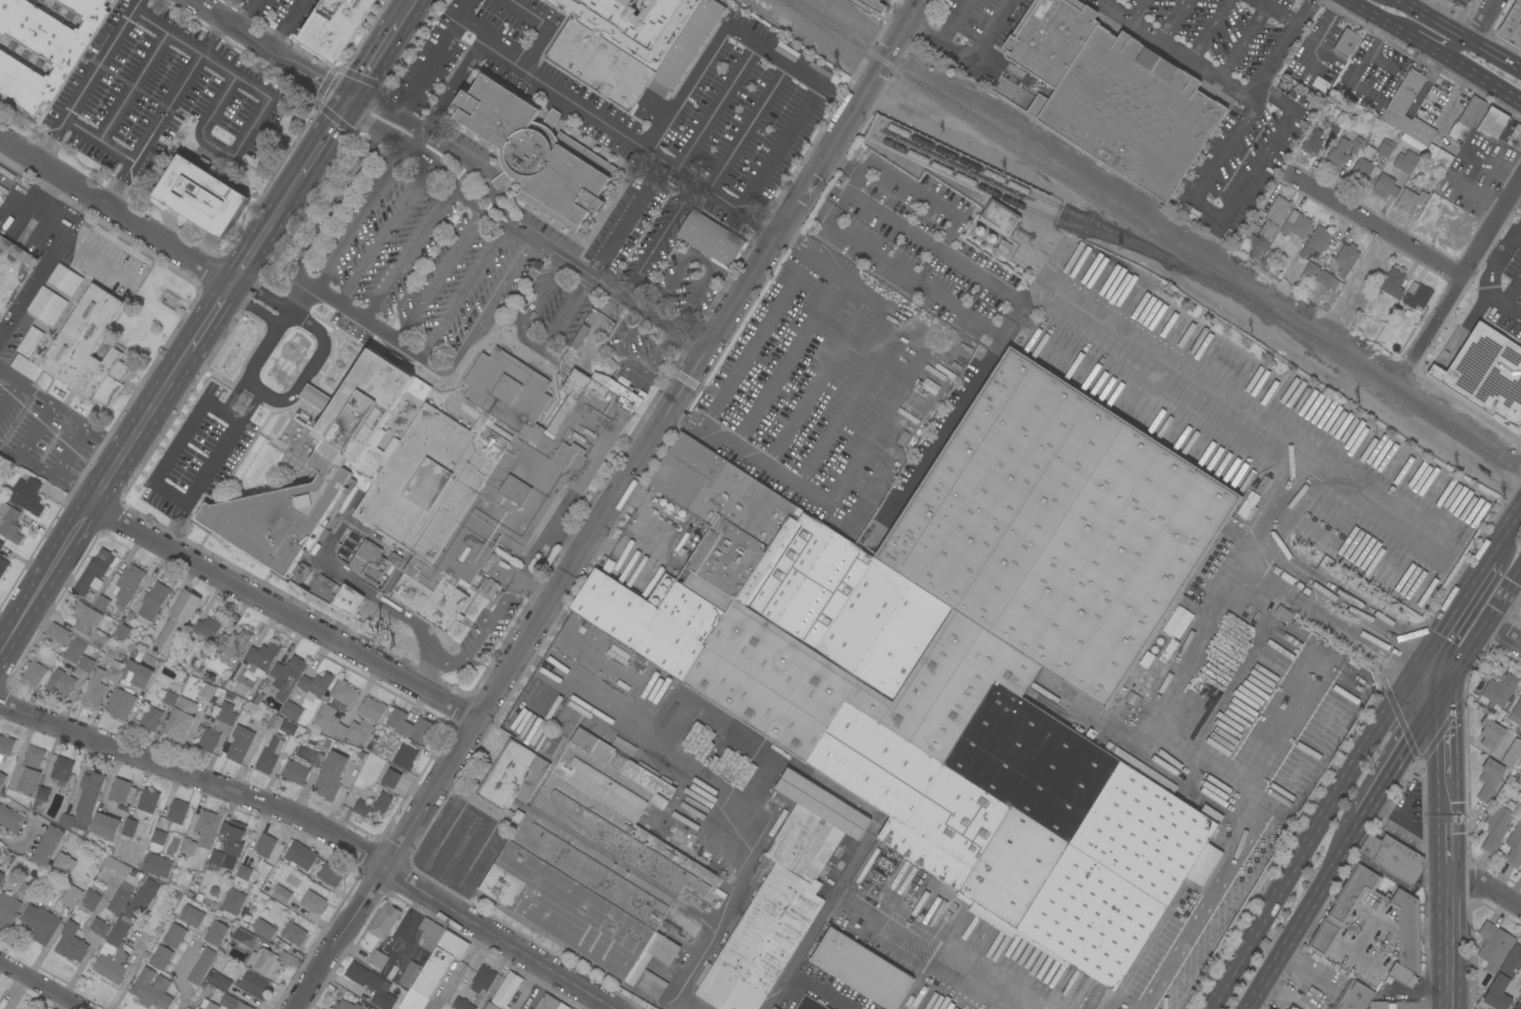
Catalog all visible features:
building: (55, 0)
road: (1404, 1)
building: (874, 5)
road: (231, 8)
road: (1135, 8)
road: (1280, 10)
road: (1440, 10)
road: (408, 12)
road: (251, 13)
road: (463, 15)
road: (1169, 17)
road: (1370, 19)
road: (1478, 19)
road: (953, 20)
road: (289, 24)
building: (635, 24)
road: (170, 25)
building: (337, 26)
building: (1512, 26)
road: (545, 27)
road: (1206, 27)
road: (1424, 31)
road: (1460, 34)
road: (1242, 37)
building: (1346, 43)
road: (1282, 45)
road: (1177, 46)
building: (44, 48)
road: (276, 49)
road: (1426, 52)
road: (773, 54)
building: (631, 58)
road: (379, 59)
road: (971, 60)
road: (427, 74)
road: (86, 79)
road: (134, 84)
building: (1321, 84)
road: (1485, 86)
road: (449, 89)
road: (266, 90)
building: (1114, 95)
road: (356, 96)
building: (1402, 102)
road: (379, 106)
road: (715, 106)
road: (349, 107)
road: (165, 110)
building: (1472, 112)
road: (212, 116)
building: (1493, 123)
road: (363, 125)
road: (748, 128)
building: (1333, 130)
building: (1420, 131)
building: (1458, 131)
road: (615, 132)
building: (1512, 135)
road: (414, 140)
road: (95, 142)
building: (1312, 142)
road: (439, 143)
building: (1413, 143)
road: (324, 146)
building: (1355, 146)
building: (1385, 148)
building: (536, 153)
building: (1337, 155)
road: (423, 158)
building: (1444, 158)
building: (1406, 162)
road: (477, 166)
building: (1364, 171)
building: (1386, 187)
building: (202, 196)
building: (1, 197)
road: (1517, 197)
road: (841, 198)
building: (1411, 198)
railway: (1012, 201)
road: (637, 203)
road: (286, 205)
road: (500, 210)
road: (1228, 210)
road: (117, 212)
road: (329, 212)
railway: (1079, 215)
road: (492, 216)
building: (1000, 218)
road: (361, 219)
road: (957, 220)
building: (1269, 220)
building: (1297, 224)
road: (1375, 227)
road: (385, 235)
railway: (1156, 237)
building: (711, 238)
road: (658, 239)
road: (1507, 240)
building: (1317, 241)
road: (57, 246)
road: (407, 254)
building: (1346, 255)
road: (599, 258)
road: (250, 259)
road: (98, 260)
building: (1311, 269)
building: (13, 272)
road: (1465, 273)
road: (437, 276)
building: (65, 279)
building: (1327, 279)
road: (907, 280)
road: (986, 281)
building: (1393, 283)
road: (1491, 285)
road: (609, 286)
road: (462, 289)
road: (1511, 289)
building: (1417, 296)
road: (298, 298)
building: (48, 306)
road: (530, 306)
road: (565, 310)
road: (213, 316)
road: (281, 320)
road: (274, 329)
road: (3, 331)
road: (3, 338)
road: (753, 339)
building: (30, 341)
road: (323, 347)
building: (84, 349)
road: (785, 360)
road: (608, 363)
road: (446, 371)
building: (1487, 374)
road: (817, 381)
road: (163, 394)
road: (8, 395)
road: (234, 396)
road: (1220, 402)
road: (847, 403)
road: (62, 412)
road: (880, 417)
road: (944, 428)
road: (914, 429)
road: (22, 449)
road: (69, 452)
road: (8, 453)
road: (110, 475)
building: (430, 476)
building: (1263, 484)
road: (75, 488)
building: (27, 495)
road: (171, 496)
road: (1376, 501)
road: (608, 505)
building: (1247, 505)
road: (1510, 520)
building: (10, 523)
building: (1059, 527)
road: (543, 539)
road: (565, 539)
building: (1, 545)
building: (396, 561)
building: (370, 565)
building: (3, 566)
building: (94, 574)
road: (44, 580)
building: (128, 583)
road: (536, 589)
road: (367, 592)
road: (1503, 592)
road: (1323, 593)
building: (336, 596)
road: (1461, 598)
building: (153, 601)
building: (102, 603)
road: (282, 614)
building: (85, 617)
building: (178, 620)
building: (208, 626)
building: (122, 631)
road: (483, 631)
road: (1503, 631)
building: (58, 634)
building: (98, 639)
building: (233, 644)
building: (75, 650)
road: (1461, 657)
building: (261, 658)
traffic signals: (1423, 659)
building: (86, 664)
building: (114, 673)
building: (137, 674)
building: (850, 674)
building: (35, 675)
building: (288, 676)
road: (1430, 677)
building: (61, 683)
building: (315, 686)
road: (363, 689)
building: (94, 690)
building: (206, 691)
building: (1499, 691)
building: (344, 693)
traffic signals: (1438, 695)
building: (256, 697)
building: (170, 698)
building: (121, 704)
road: (609, 704)
building: (372, 709)
building: (292, 711)
building: (1516, 714)
building: (151, 718)
building: (180, 720)
building: (275, 721)
building: (343, 726)
building: (410, 726)
building: (217, 727)
building: (288, 728)
building: (1491, 734)
building: (238, 744)
building: (6, 746)
building: (1512, 754)
building: (270, 755)
building: (405, 756)
road: (1399, 756)
road: (1441, 756)
building: (1520, 761)
building: (62, 769)
building: (31, 770)
building: (295, 773)
road: (1223, 773)
building: (330, 776)
building: (2, 779)
building: (391, 779)
building: (1491, 780)
building: (119, 790)
building: (41, 797)
road: (469, 797)
building: (148, 801)
building: (85, 802)
building: (373, 805)
building: (177, 811)
building: (10, 819)
building: (1498, 825)
building: (105, 826)
building: (129, 827)
building: (203, 827)
road: (323, 828)
road: (1313, 832)
building: (159, 837)
road: (441, 839)
road: (1444, 839)
road: (20, 842)
building: (229, 845)
building: (265, 845)
building: (48, 846)
building: (188, 847)
building: (1514, 847)
building: (589, 854)
building: (301, 855)
road: (473, 858)
building: (1392, 860)
building: (64, 863)
building: (157, 865)
building: (1107, 867)
building: (3, 873)
building: (246, 873)
building: (330, 875)
road: (8, 882)
road: (745, 883)
road: (1482, 883)
building: (121, 895)
building: (282, 895)
building: (71, 896)
building: (782, 896)
building: (91, 900)
building: (141, 900)
building: (233, 902)
building: (313, 902)
building: (8, 910)
road: (1303, 912)
building: (37, 916)
building: (191, 916)
building: (1335, 919)
building: (384, 922)
building: (99, 927)
building: (264, 929)
building: (216, 933)
building: (294, 934)
building: (430, 934)
road: (1445, 935)
building: (175, 936)
building: (244, 937)
building: (71, 943)
building: (1494, 945)
building: (112, 954)
building: (161, 958)
building: (378, 959)
building: (263, 963)
building: (439, 963)
building: (202, 966)
road: (458, 967)
building: (1509, 967)
building: (862, 969)
road: (930, 970)
road: (129, 973)
building: (1401, 973)
building: (409, 974)
road: (1305, 974)
road: (181, 975)
building: (483, 979)
building: (218, 980)
road: (343, 981)
building: (253, 985)
building: (372, 985)
road: (527, 985)
road: (41, 987)
building: (152, 989)
road: (821, 991)
building: (505, 992)
road: (17, 994)
road: (1284, 996)
building: (1354, 996)
road: (590, 1001)
building: (548, 1002)
building: (232, 1003)
building: (811, 1003)
building: (461, 1004)
building: (211, 1005)
building: (345, 1005)
building: (1380, 1005)
building: (1518, 1005)
building: (563, 1006)
building: (1293, 1006)
building: (774, 1008)

